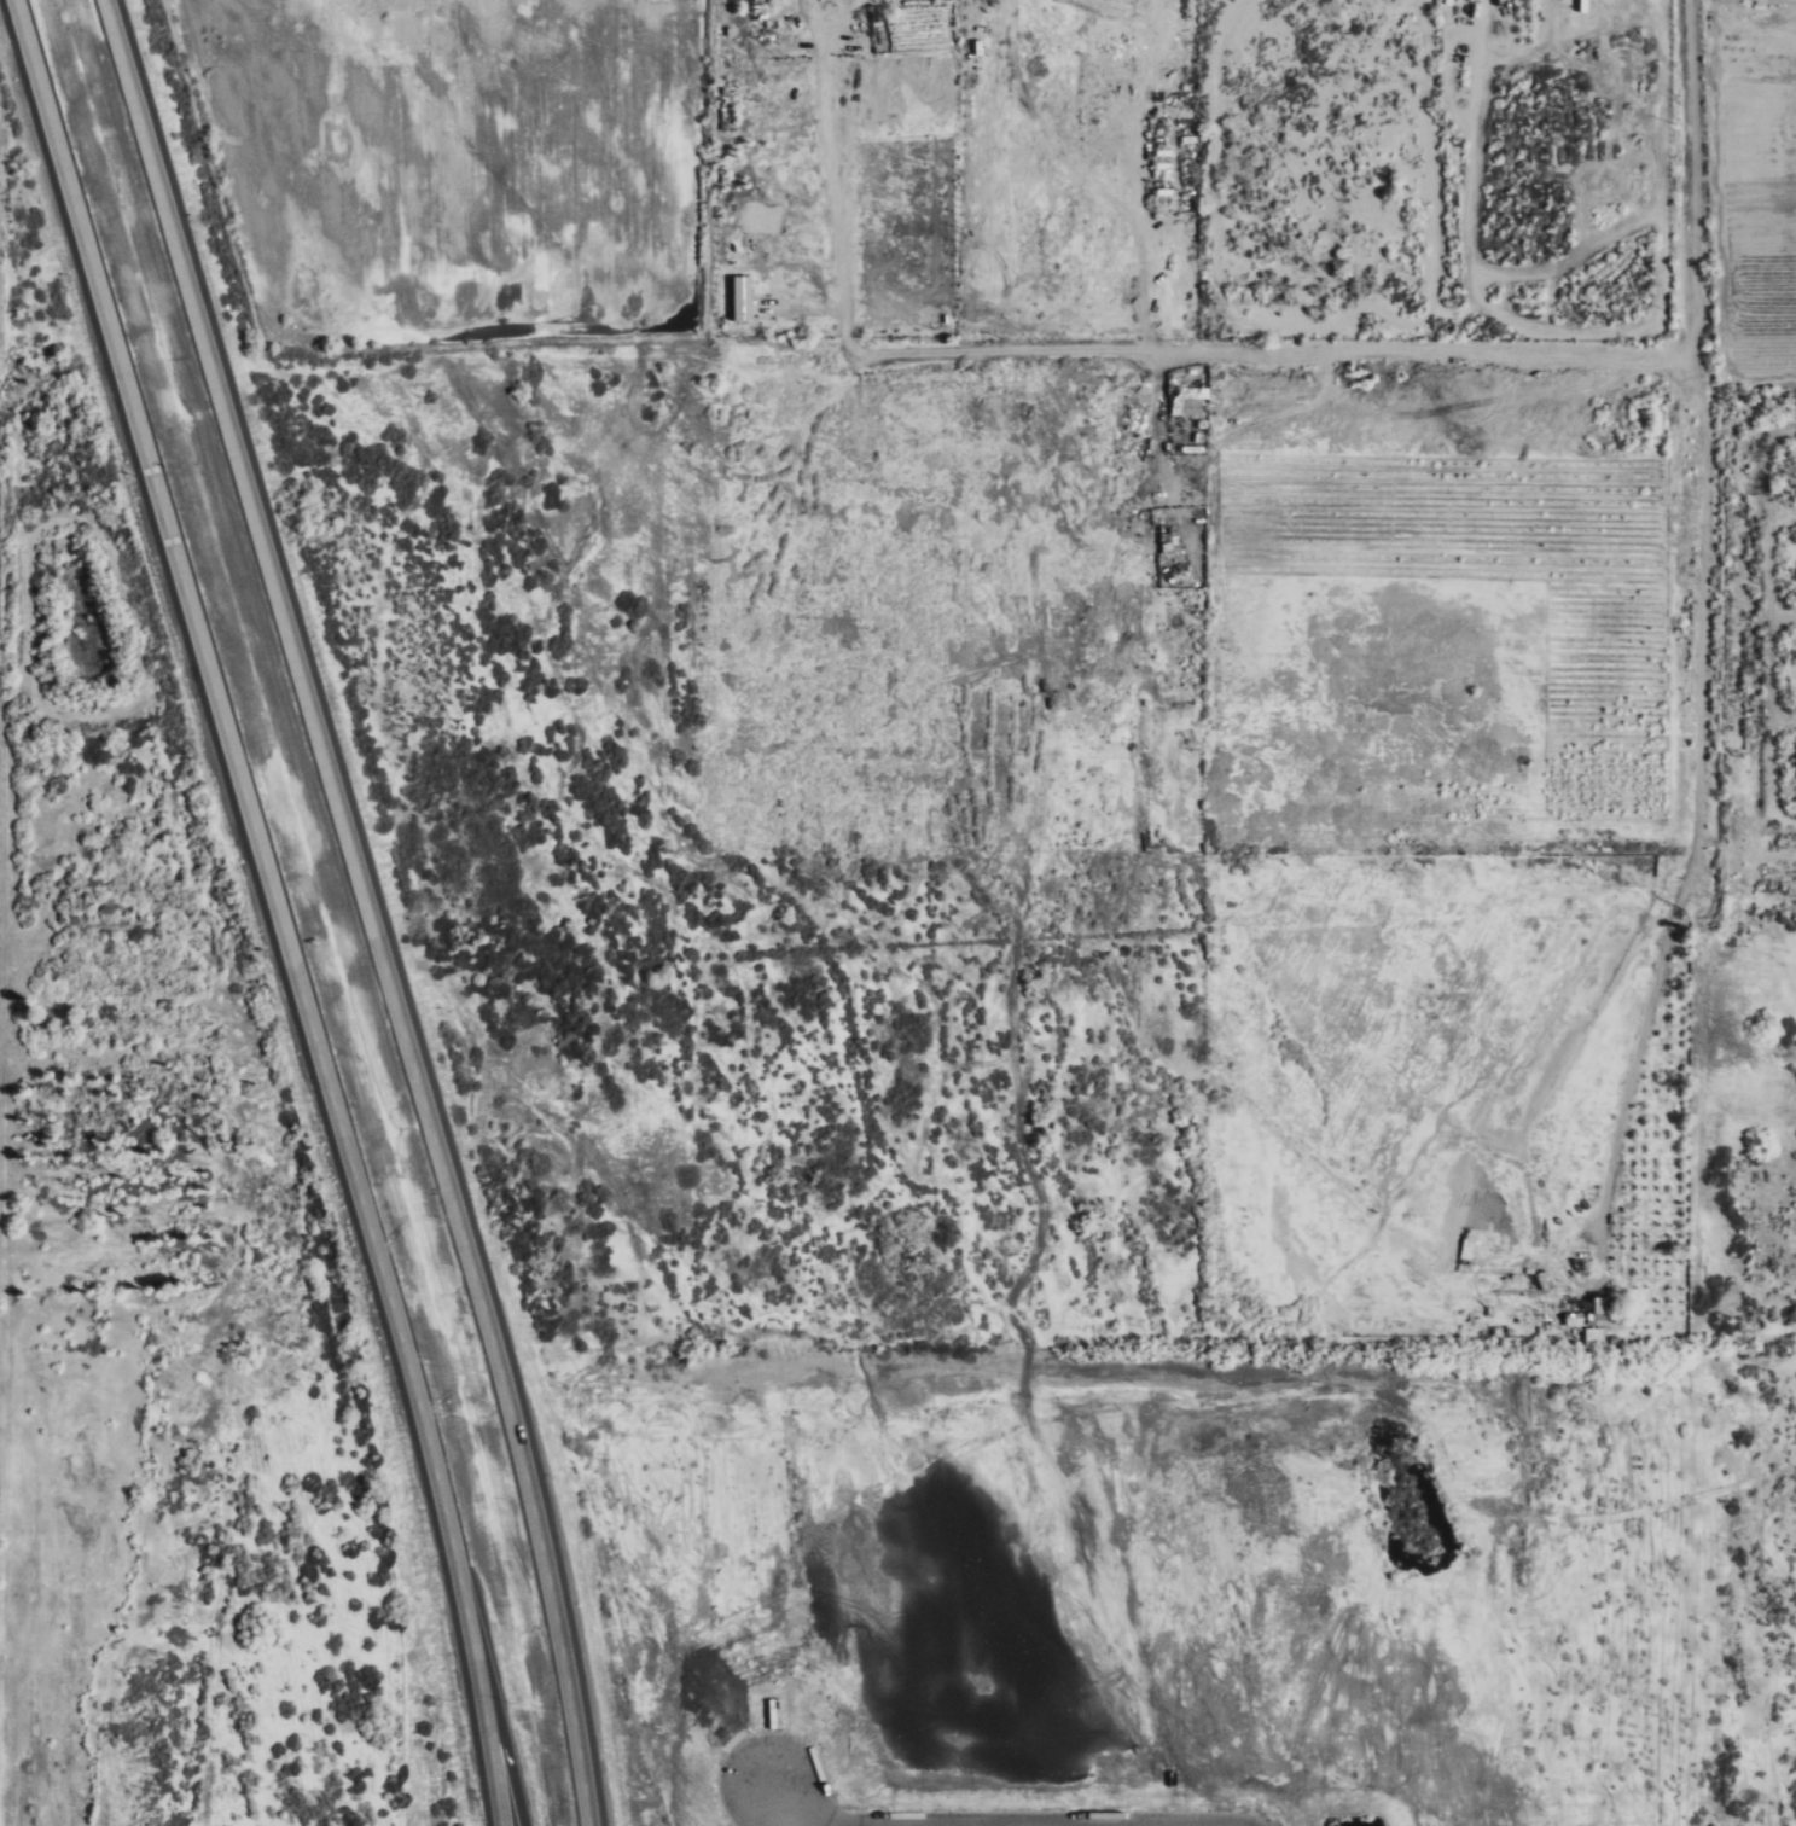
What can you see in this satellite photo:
road: (1682, 186)
building: (744, 298)
road: (1038, 350)
road: (242, 797)
road: (367, 908)
road: (483, 1711)
road: (494, 1711)
road: (1000, 1821)
road: (809, 1824)
road: (820, 1824)
road: (908, 1824)

